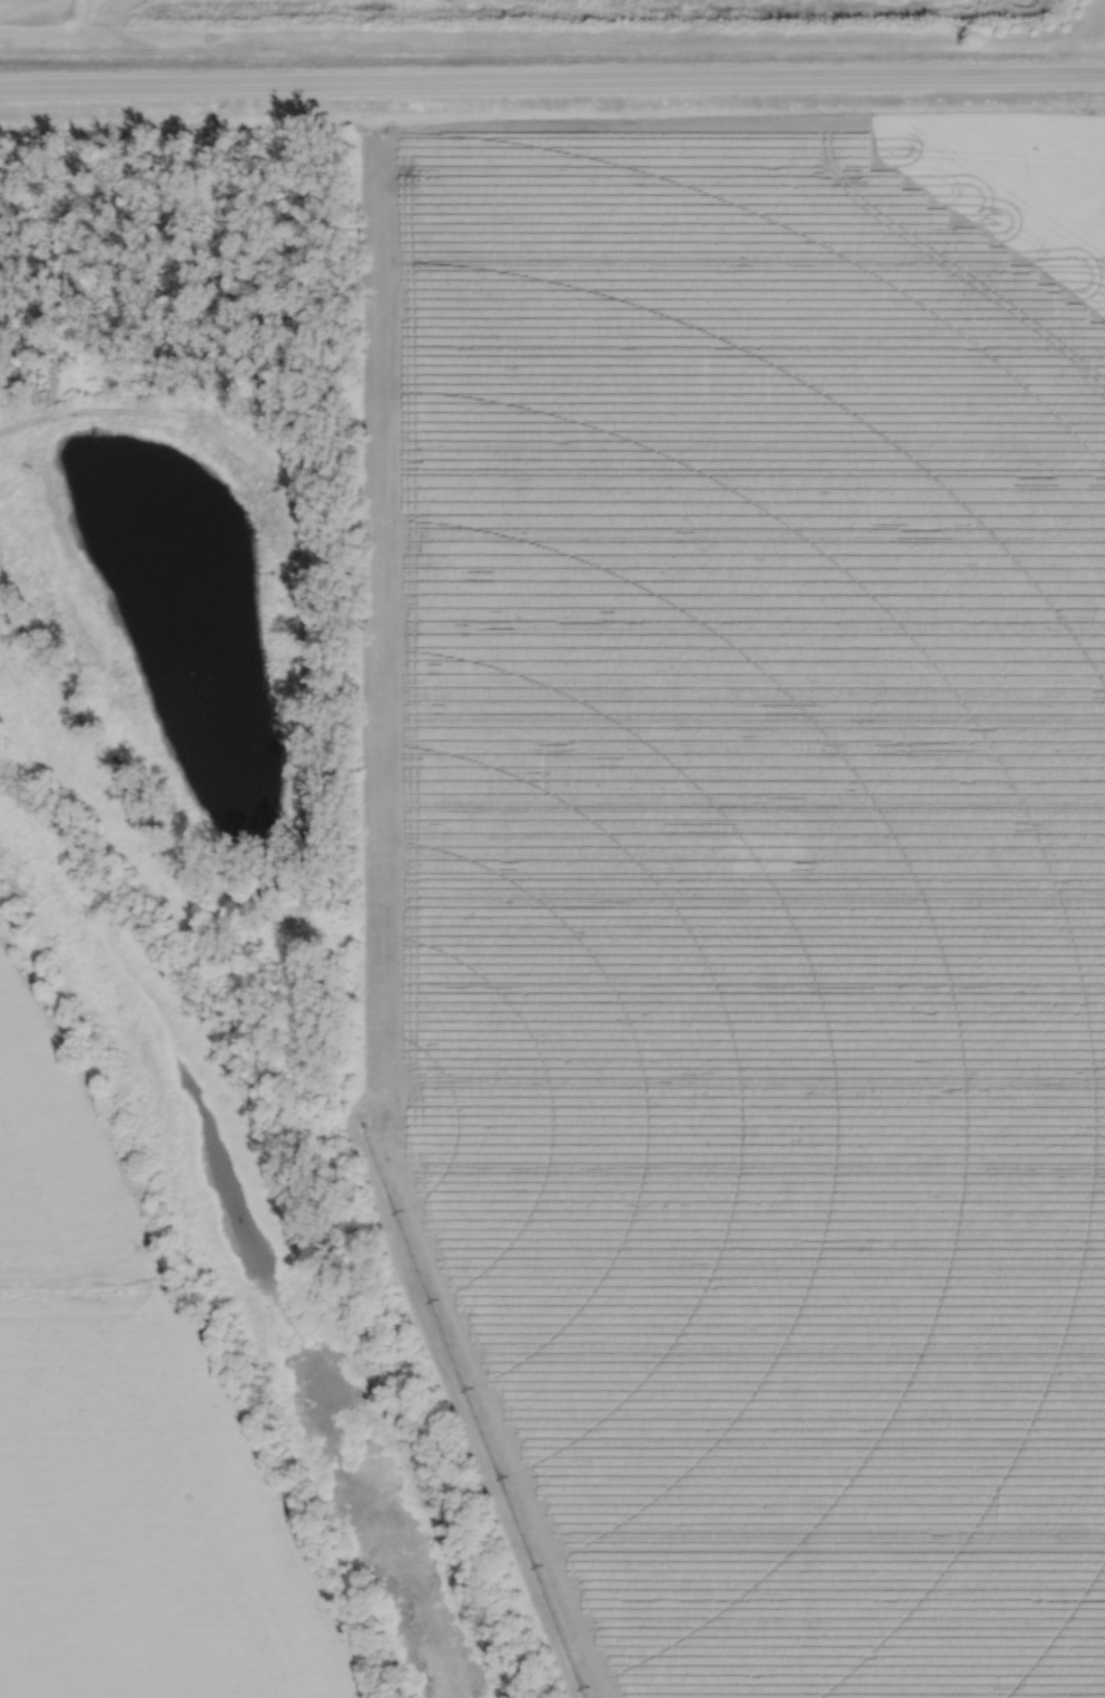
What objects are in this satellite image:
road: (552, 76)
road: (277, 506)
road: (57, 684)
crop: (749, 900)
crop: (126, 1440)

